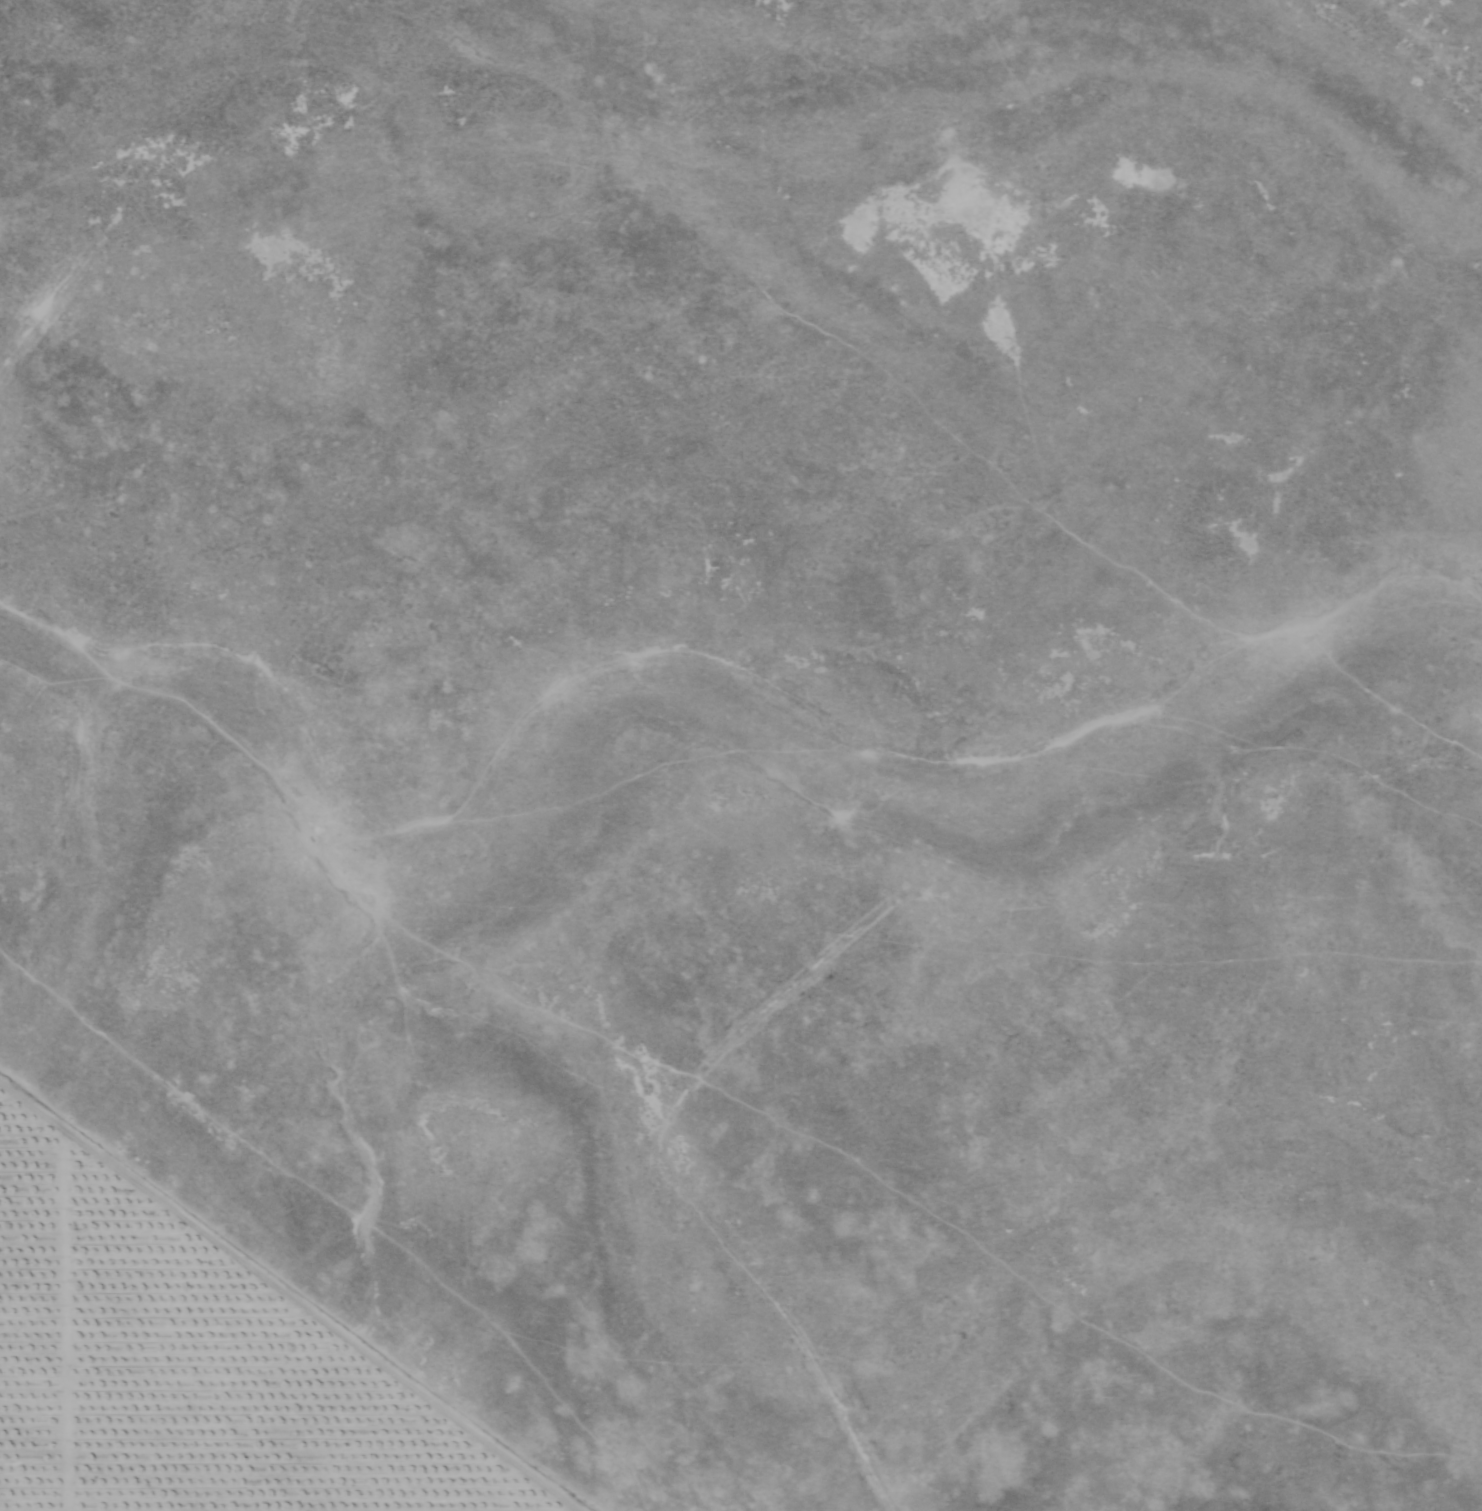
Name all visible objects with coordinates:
crop: (196, 1366)

